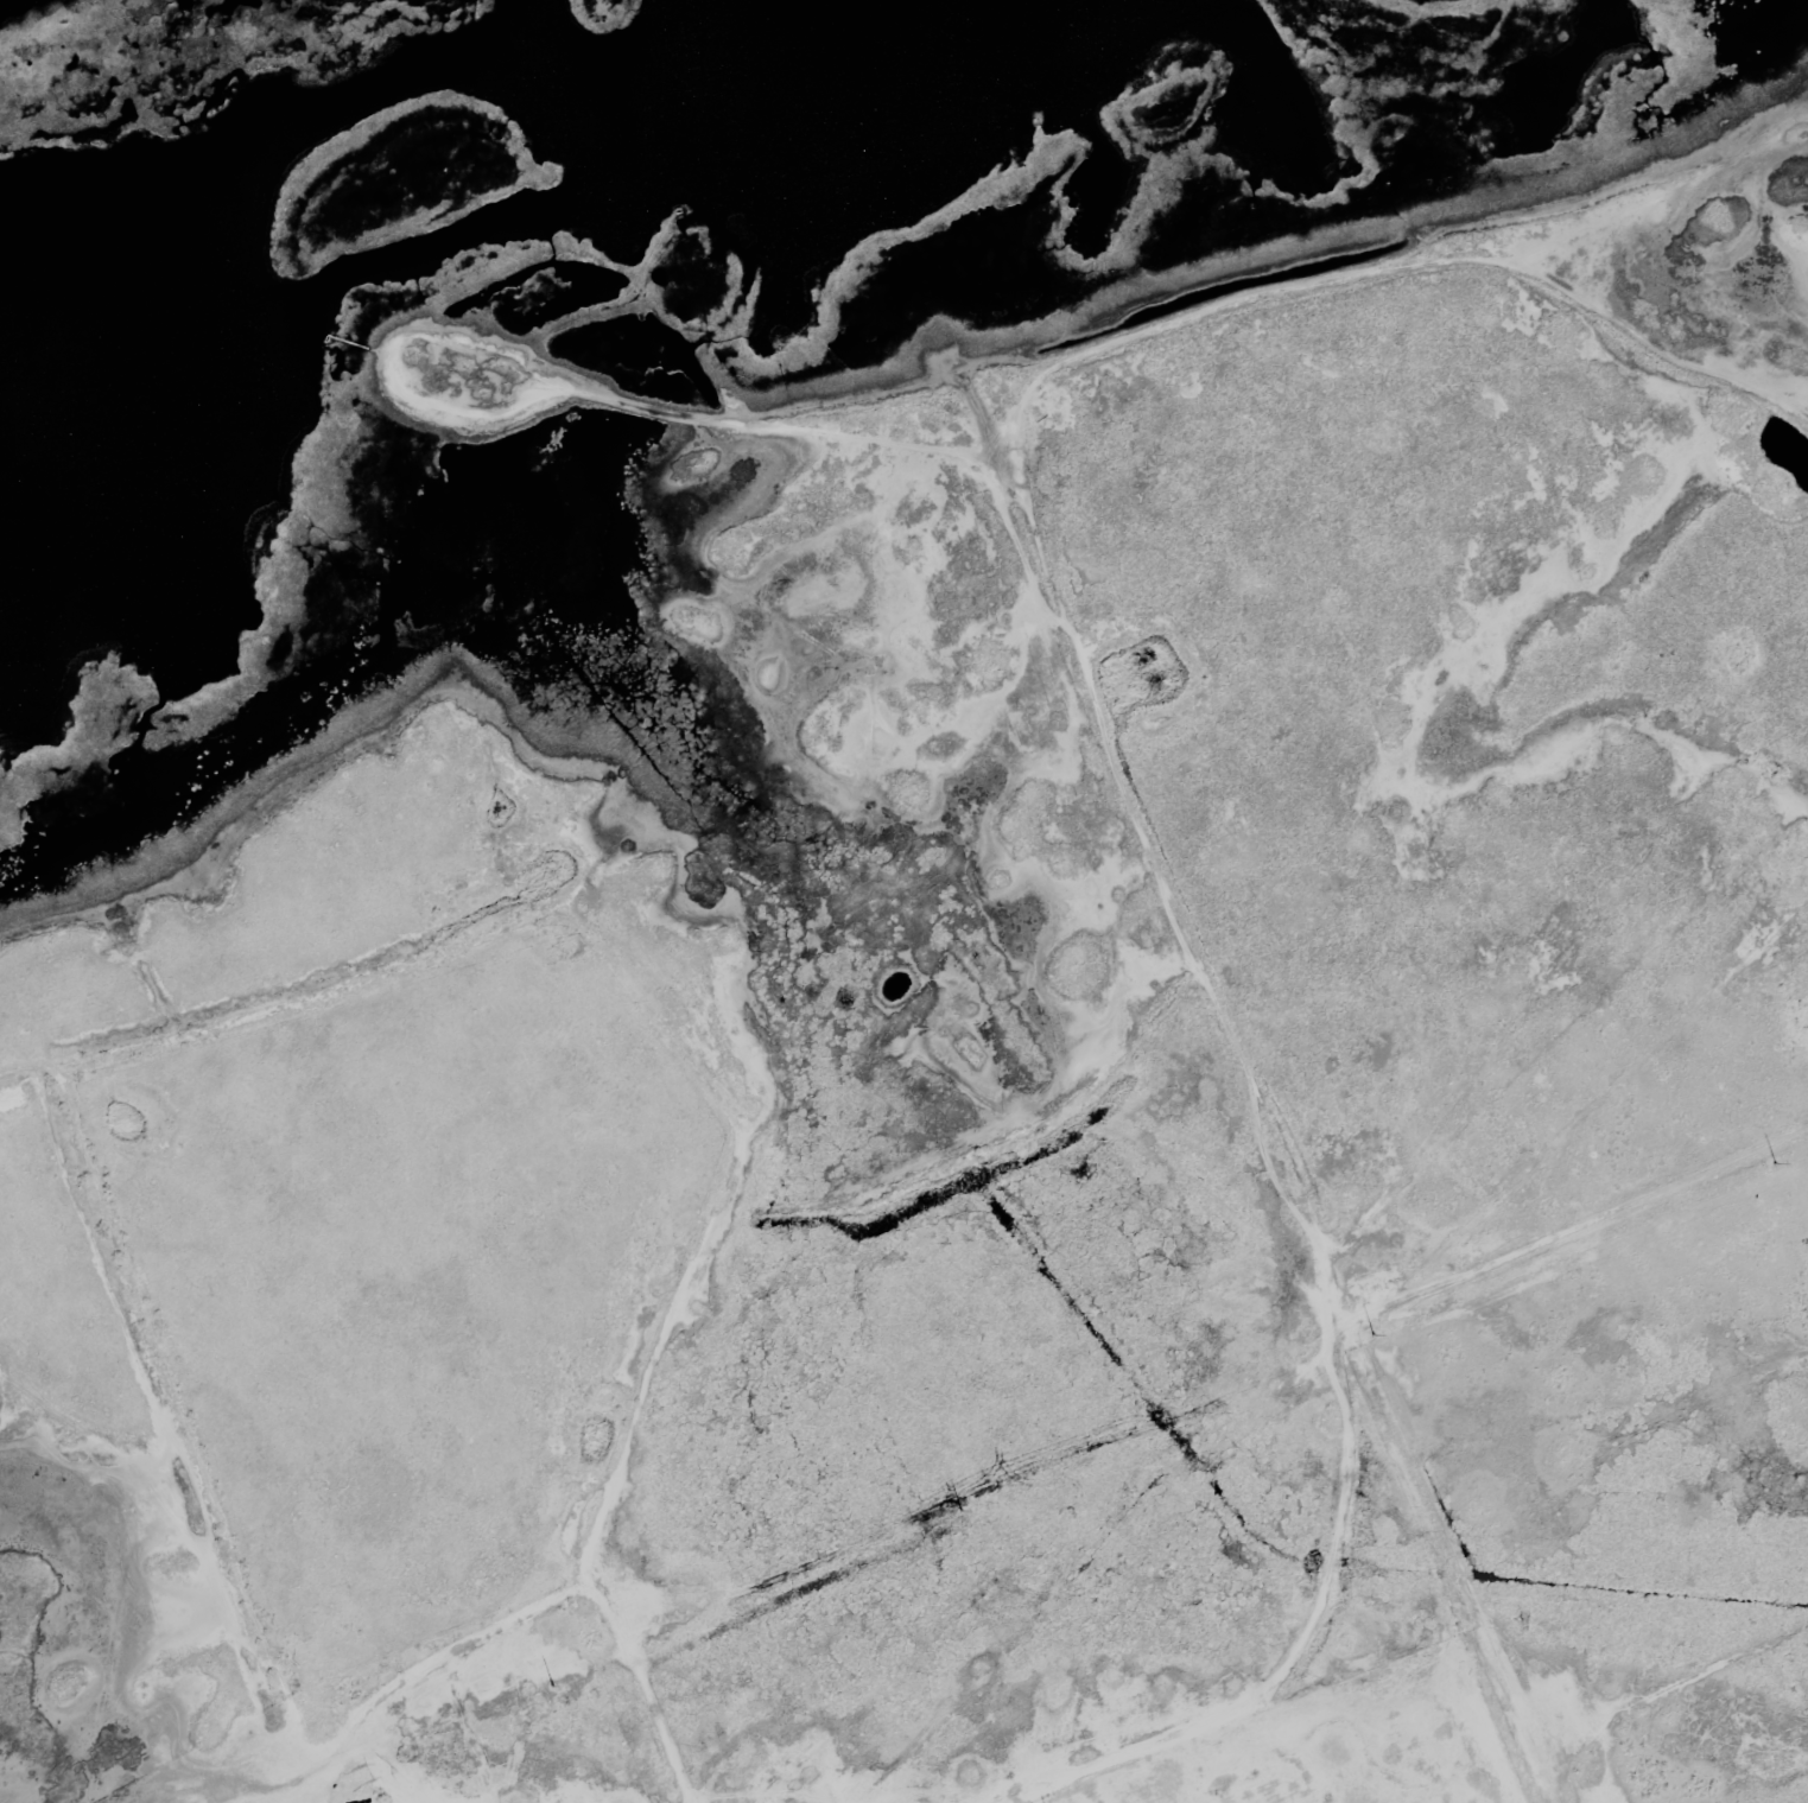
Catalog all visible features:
building: (373, 1802)

